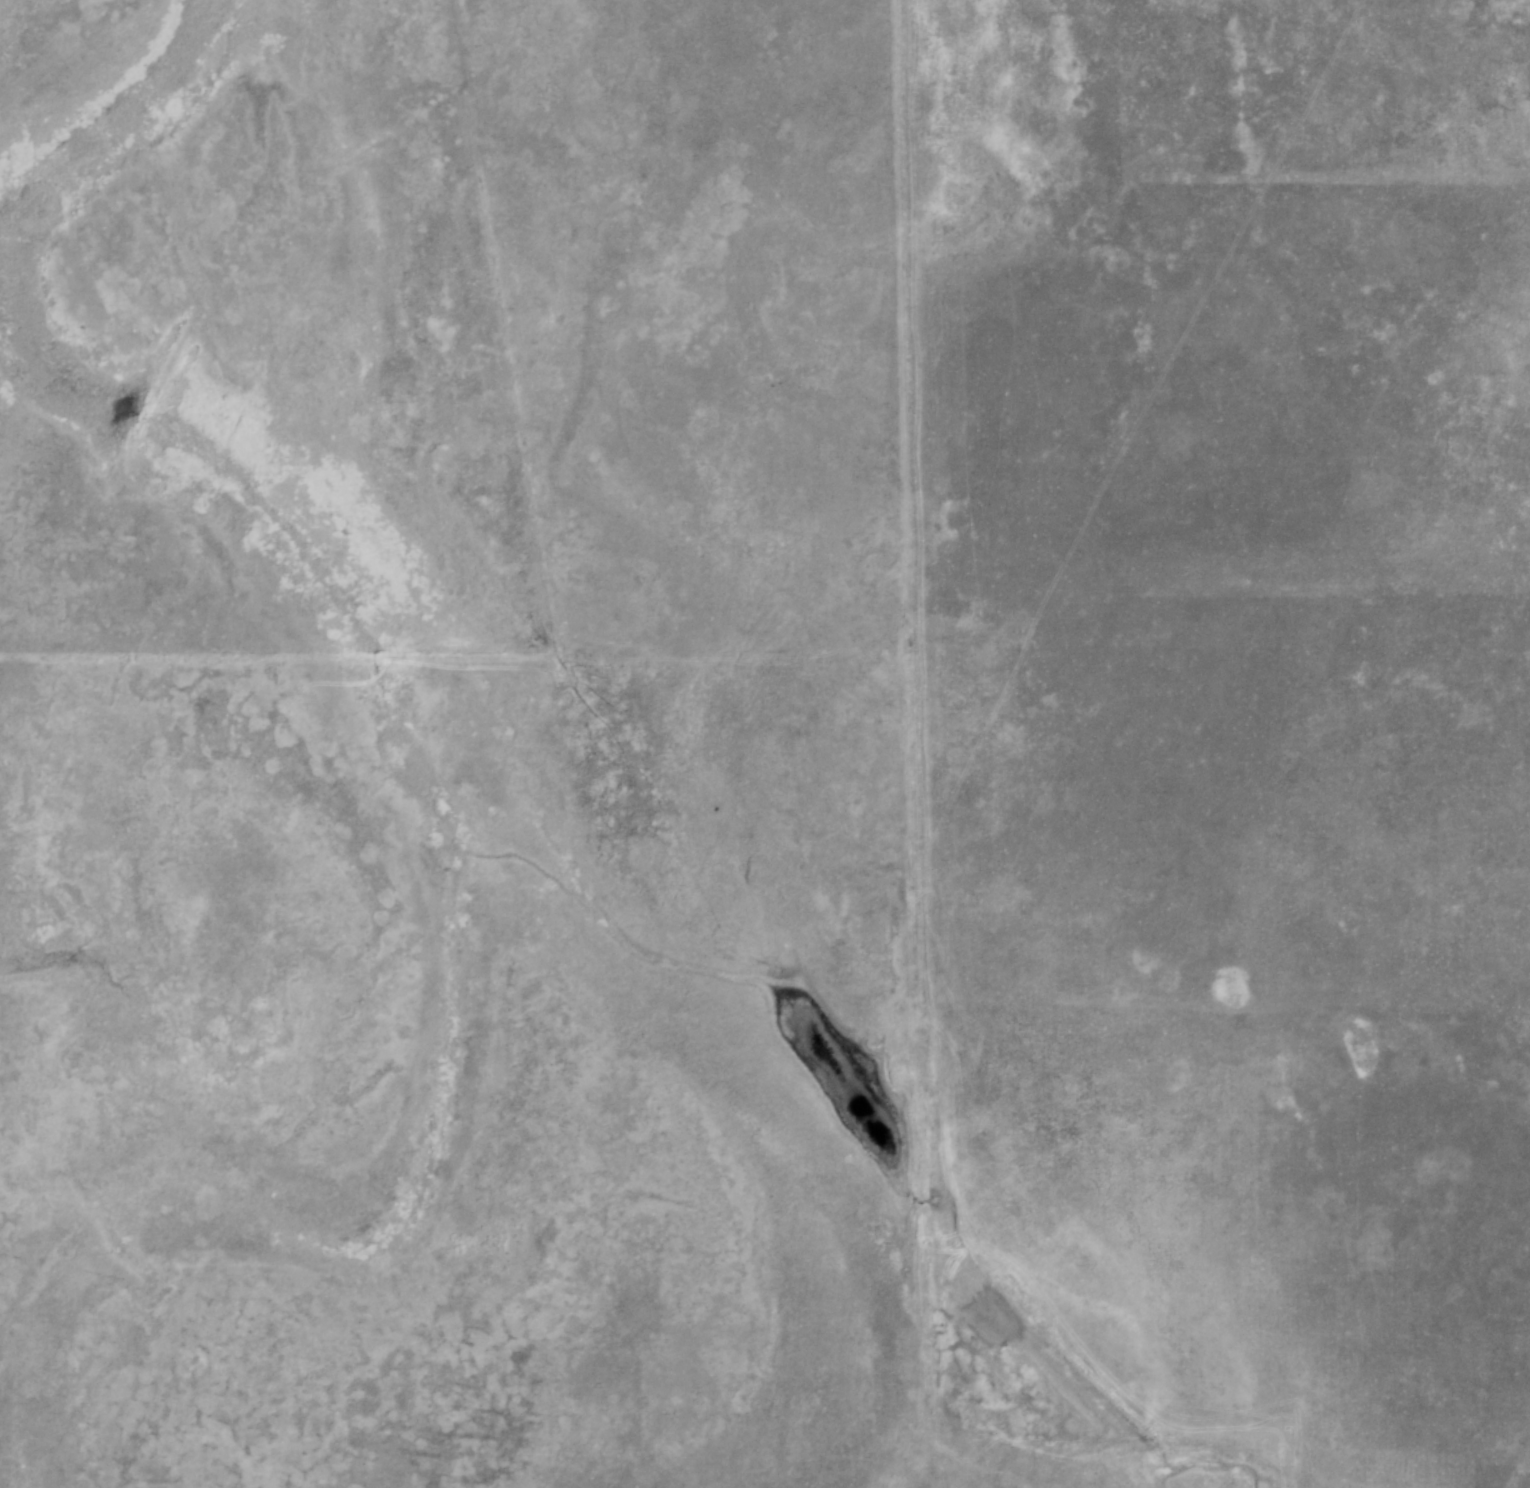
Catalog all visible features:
crop: (579, 302)
crop: (1234, 701)

